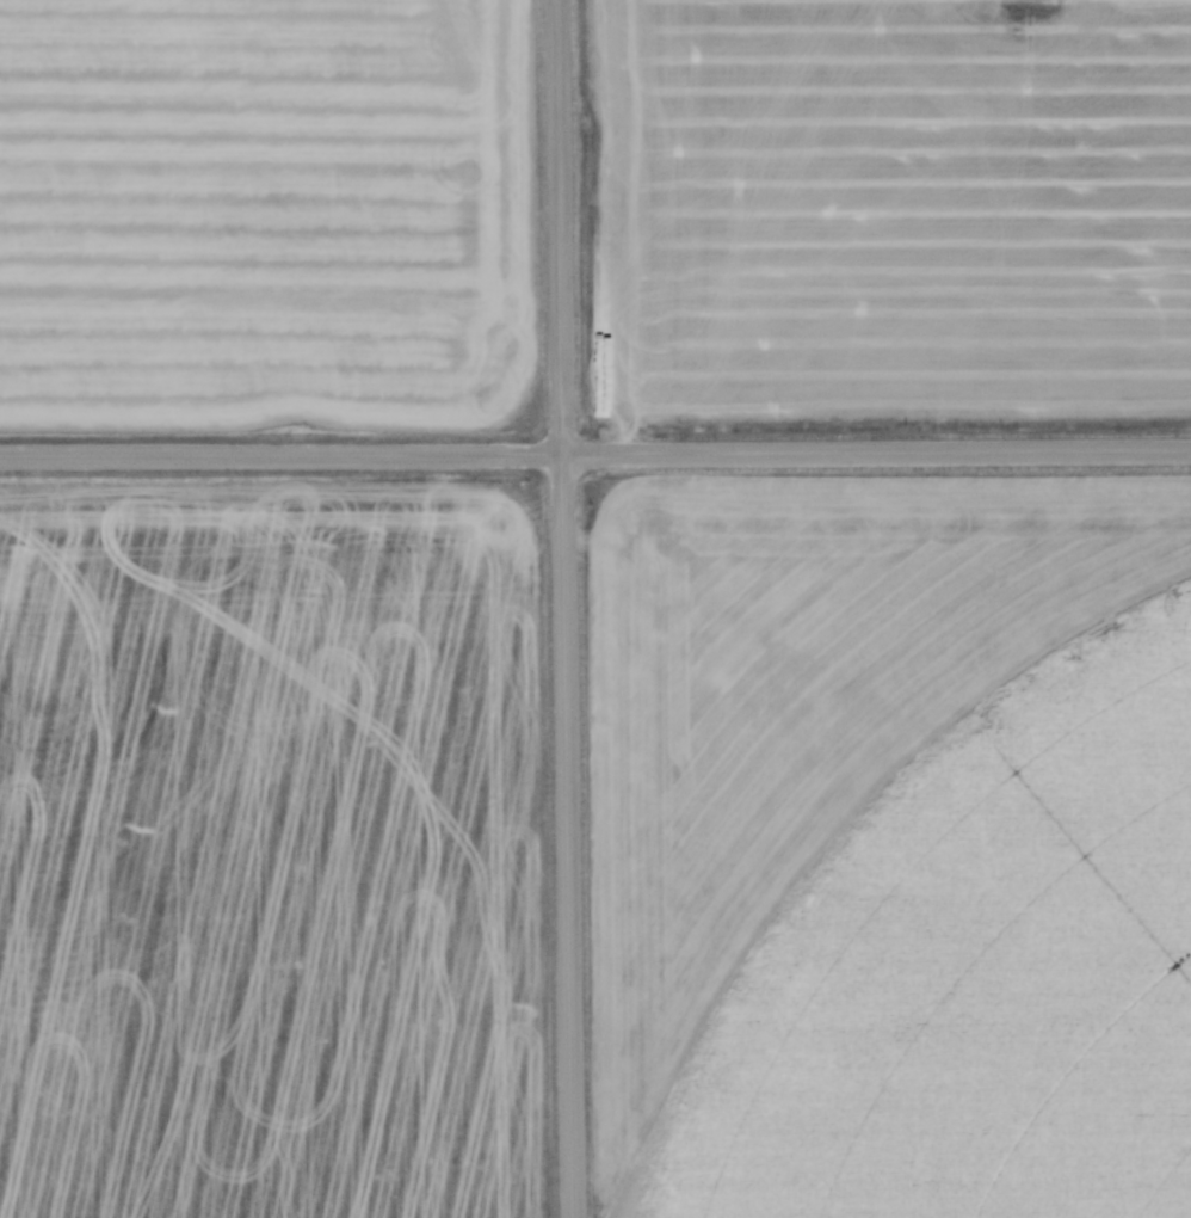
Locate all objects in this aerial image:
crop: (884, 209)
crop: (264, 214)
road: (594, 453)
road: (563, 609)
crop: (272, 849)
crop: (890, 849)

